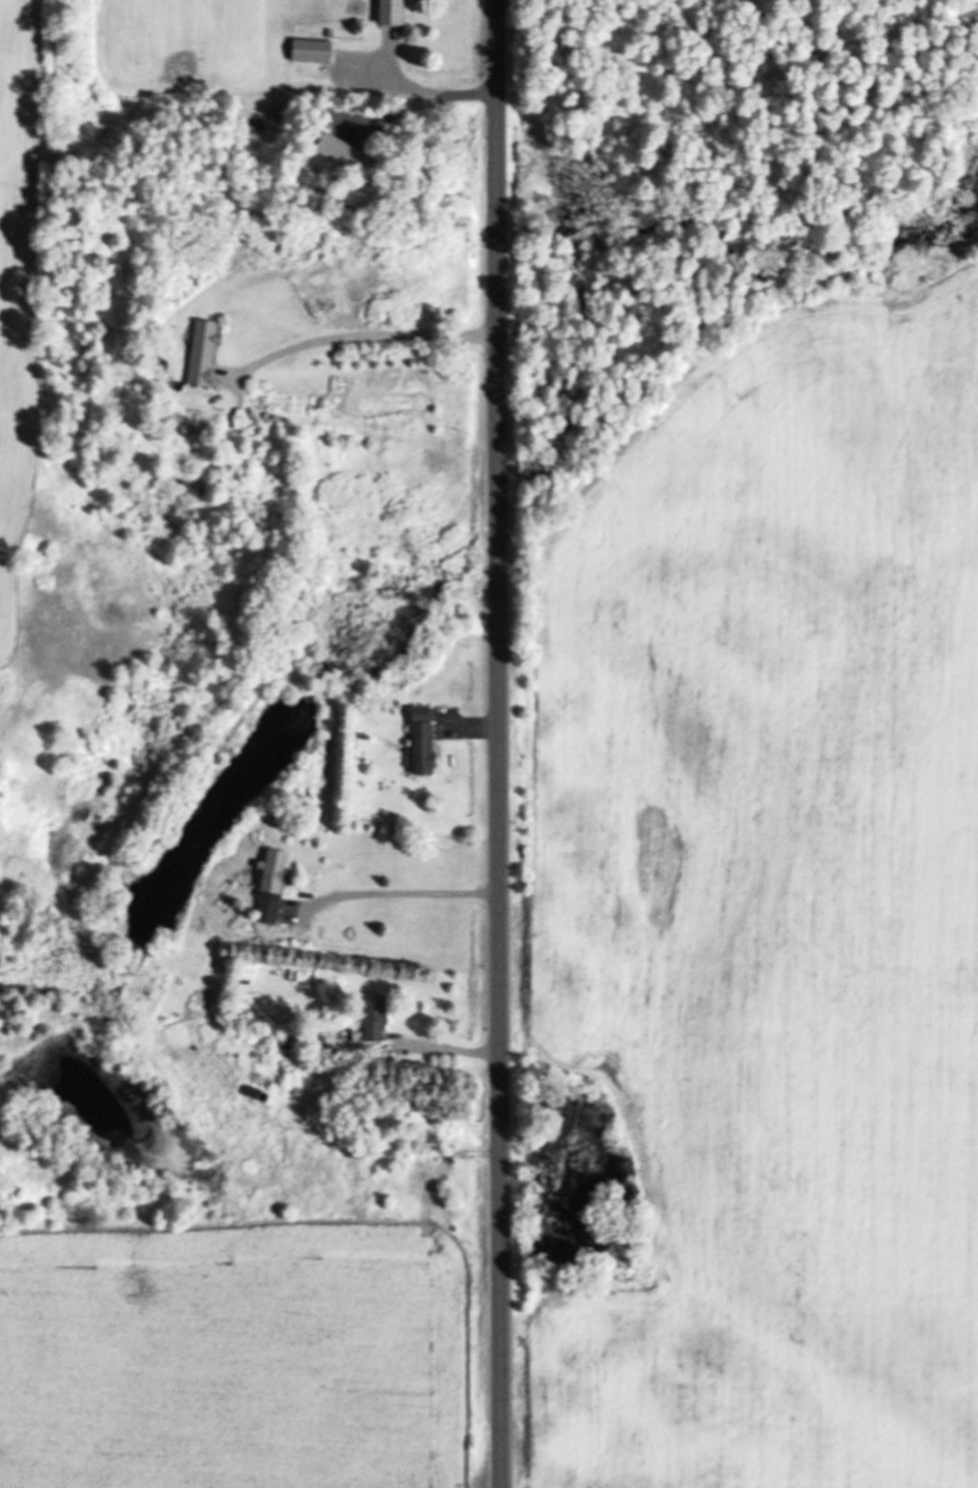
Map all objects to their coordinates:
building: (388, 12)
building: (309, 49)
building: (343, 154)
building: (200, 351)
building: (420, 740)
road: (499, 744)
building: (269, 885)
building: (372, 1018)

